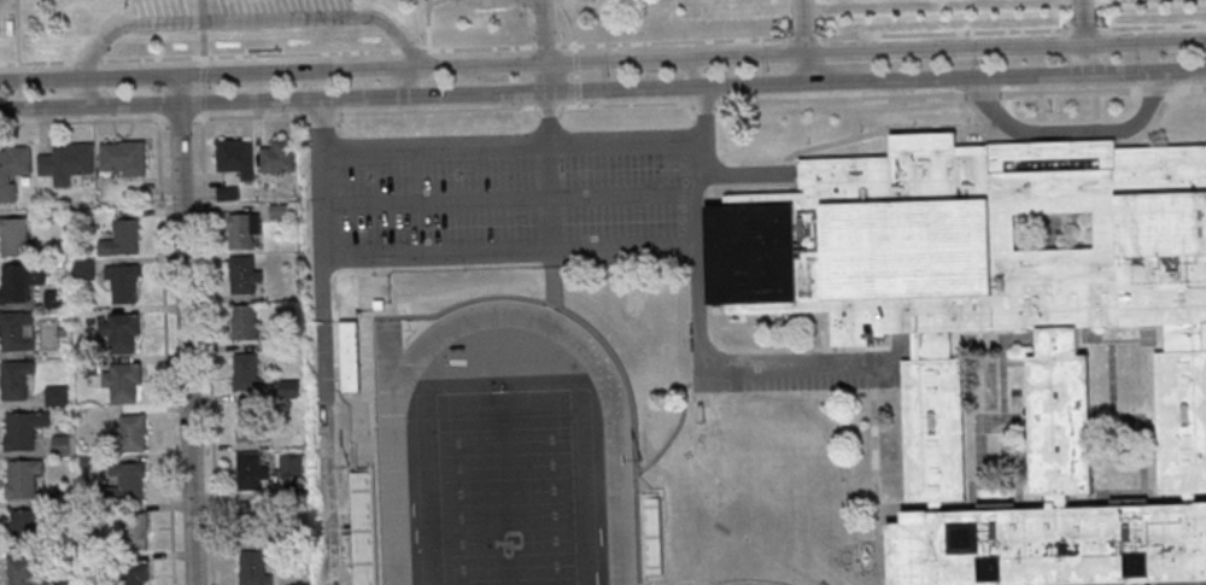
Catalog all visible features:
parking lot: (1146, 1)
parking lot: (439, 4)
road: (5, 5)
parking lot: (239, 13)
parking lot: (6, 14)
road: (264, 19)
road: (428, 24)
park: (140, 28)
road: (17, 31)
road: (1085, 36)
road: (804, 40)
road: (602, 43)
road: (546, 45)
road: (574, 51)
road: (203, 54)
road: (602, 59)
road: (698, 69)
road: (644, 84)
road: (1189, 86)
road: (1155, 88)
road: (83, 89)
road: (1070, 92)
road: (982, 95)
road: (579, 105)
road: (42, 106)
road: (701, 110)
road: (548, 115)
road: (82, 121)
road: (1071, 130)
road: (510, 144)
building: (279, 156)
building: (124, 157)
building: (235, 157)
building: (68, 162)
building: (13, 168)
building: (227, 193)
road: (509, 197)
building: (277, 210)
building: (244, 229)
building: (14, 236)
building: (121, 239)
road: (484, 256)
building: (84, 269)
building: (244, 273)
building: (19, 280)
building: (123, 281)
building: (245, 321)
road: (188, 328)
building: (17, 329)
building: (122, 333)
road: (209, 347)
road: (165, 349)
building: (351, 356)
building: (1059, 359)
building: (88, 365)
building: (247, 372)
building: (14, 379)
building: (123, 381)
building: (57, 394)
building: (250, 422)
building: (23, 428)
building: (133, 432)
building: (60, 444)
building: (291, 463)
building: (250, 470)
building: (23, 476)
building: (128, 479)
park: (507, 480)
track: (394, 502)
building: (251, 516)
building: (24, 526)
building: (137, 531)
building: (651, 534)
building: (253, 568)
building: (22, 572)
building: (134, 573)
park: (755, 583)

